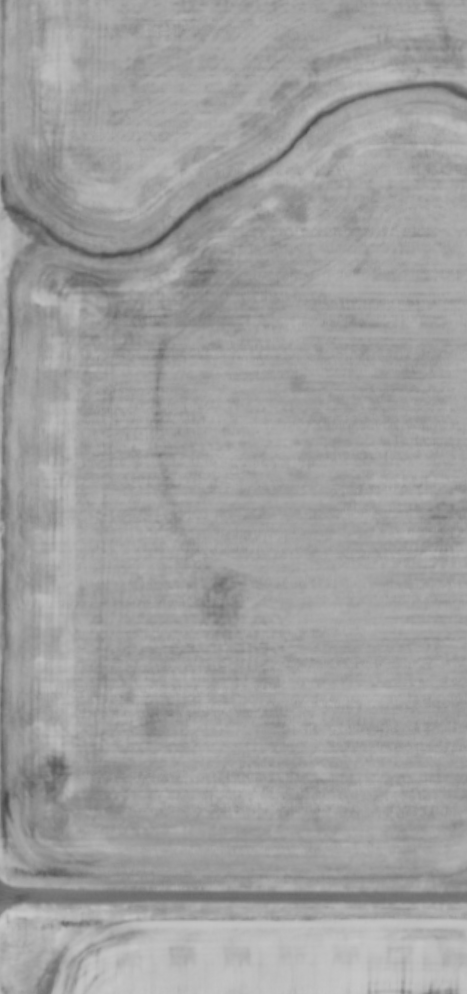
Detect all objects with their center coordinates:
road: (233, 893)

